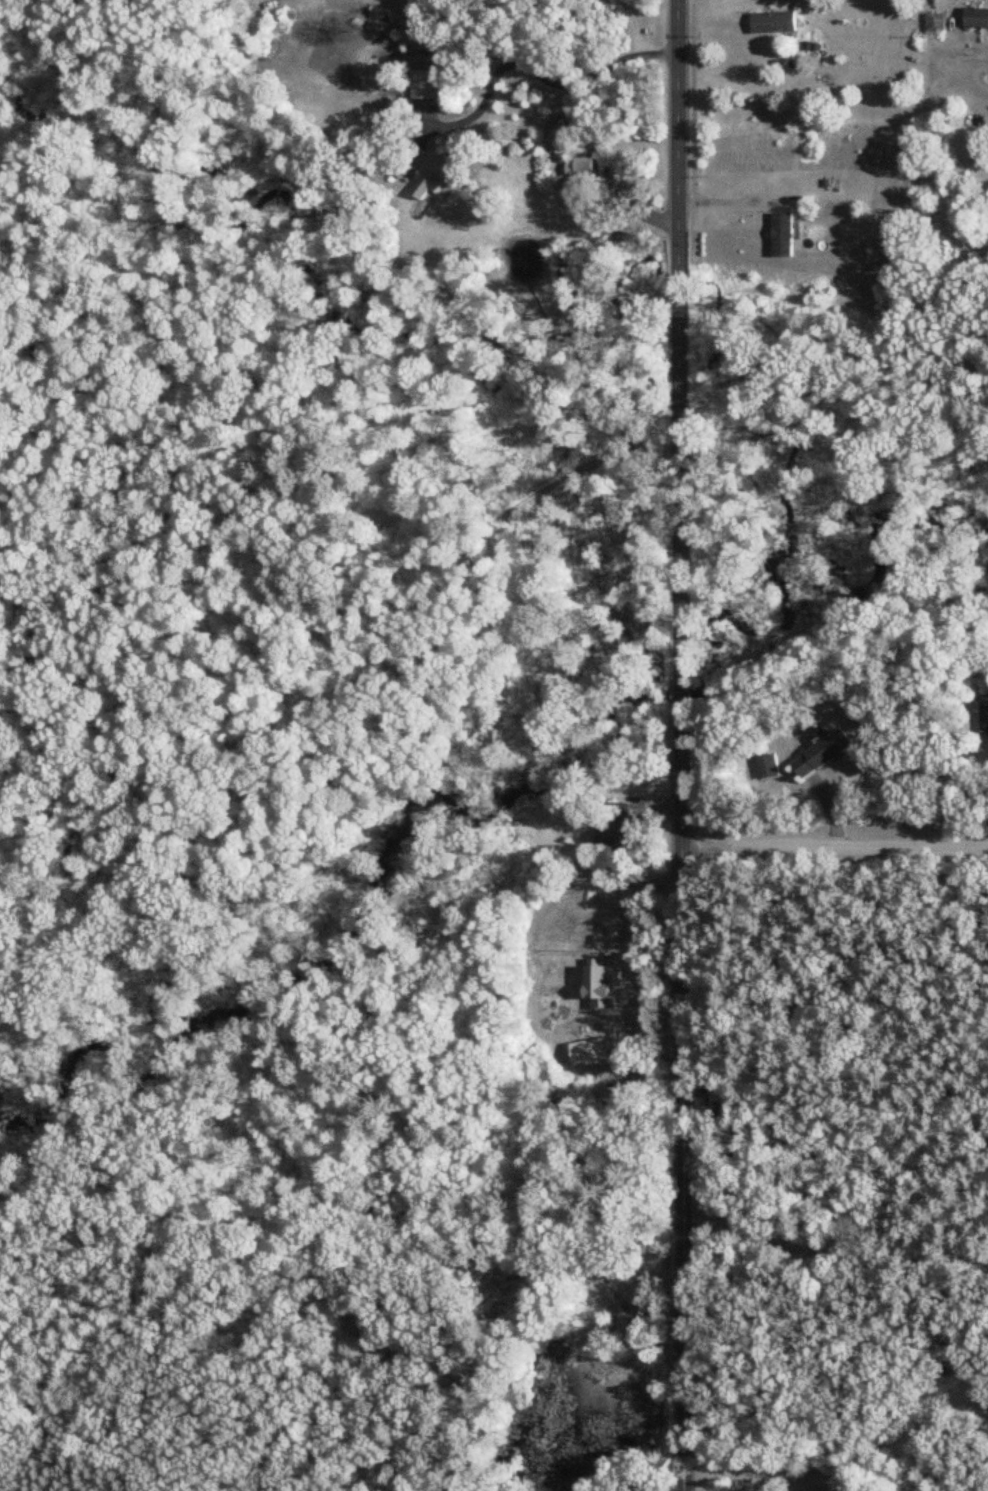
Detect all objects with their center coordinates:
building: (976, 20)
building: (773, 23)
building: (935, 24)
road: (526, 67)
building: (424, 86)
building: (582, 168)
building: (432, 176)
road: (730, 201)
building: (783, 234)
building: (985, 717)
road: (679, 745)
building: (825, 752)
building: (769, 768)
road: (953, 796)
building: (620, 835)
road: (834, 840)
building: (606, 1015)
building: (591, 1045)
road: (835, 1254)
road: (736, 1470)

